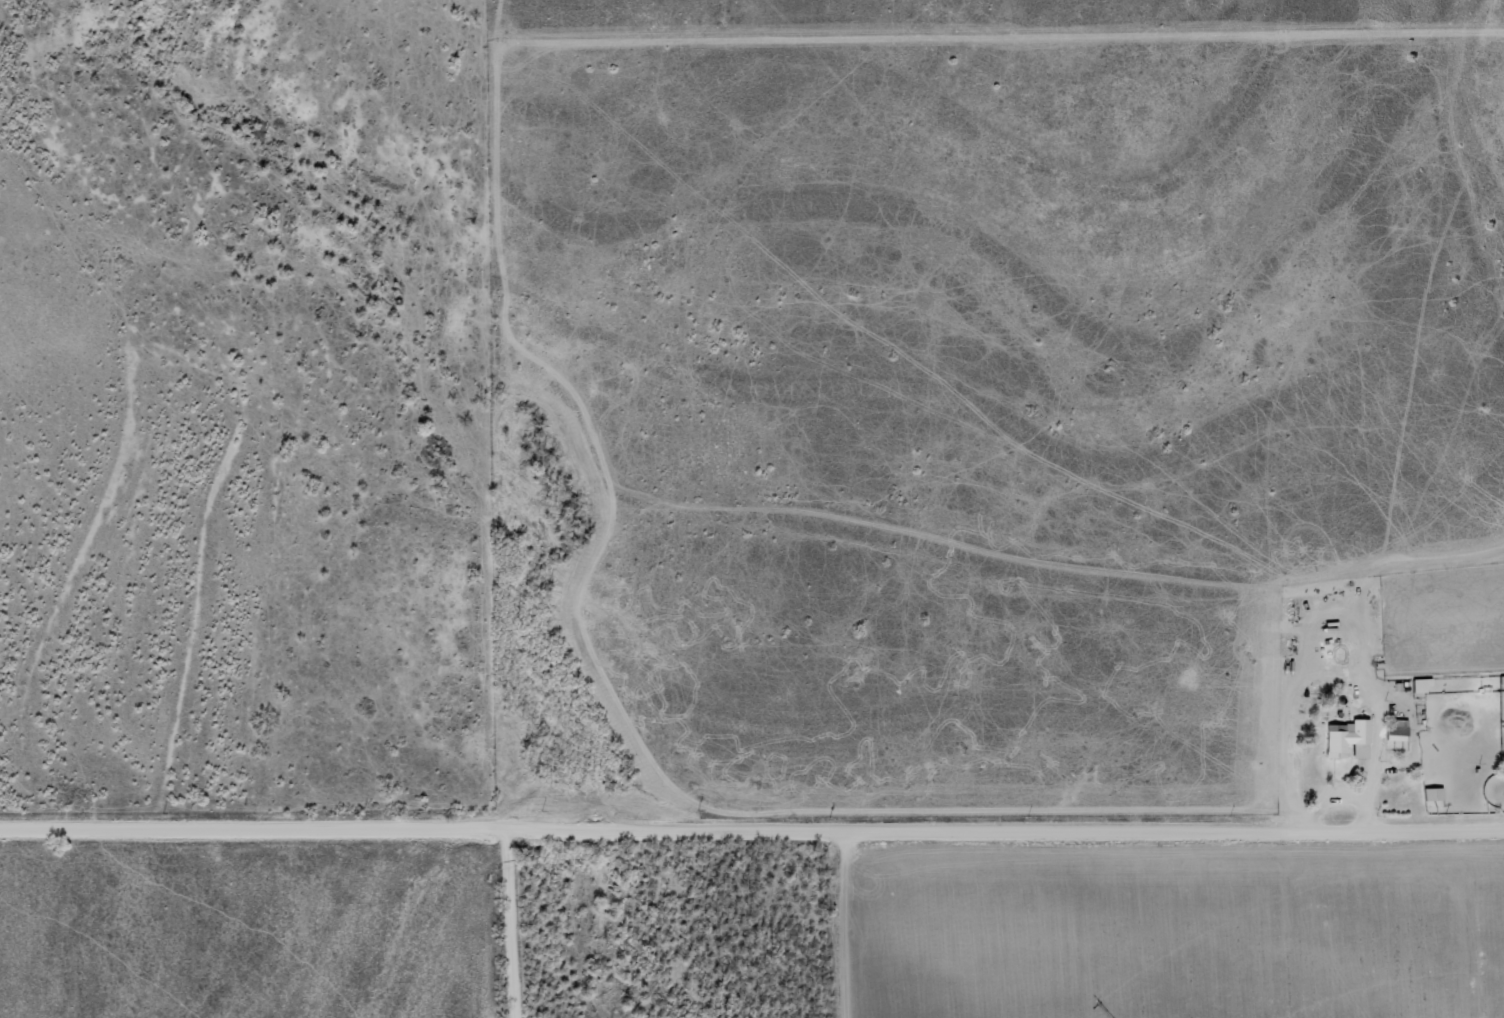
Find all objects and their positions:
building: (1352, 738)
road: (751, 827)
road: (419, 930)

